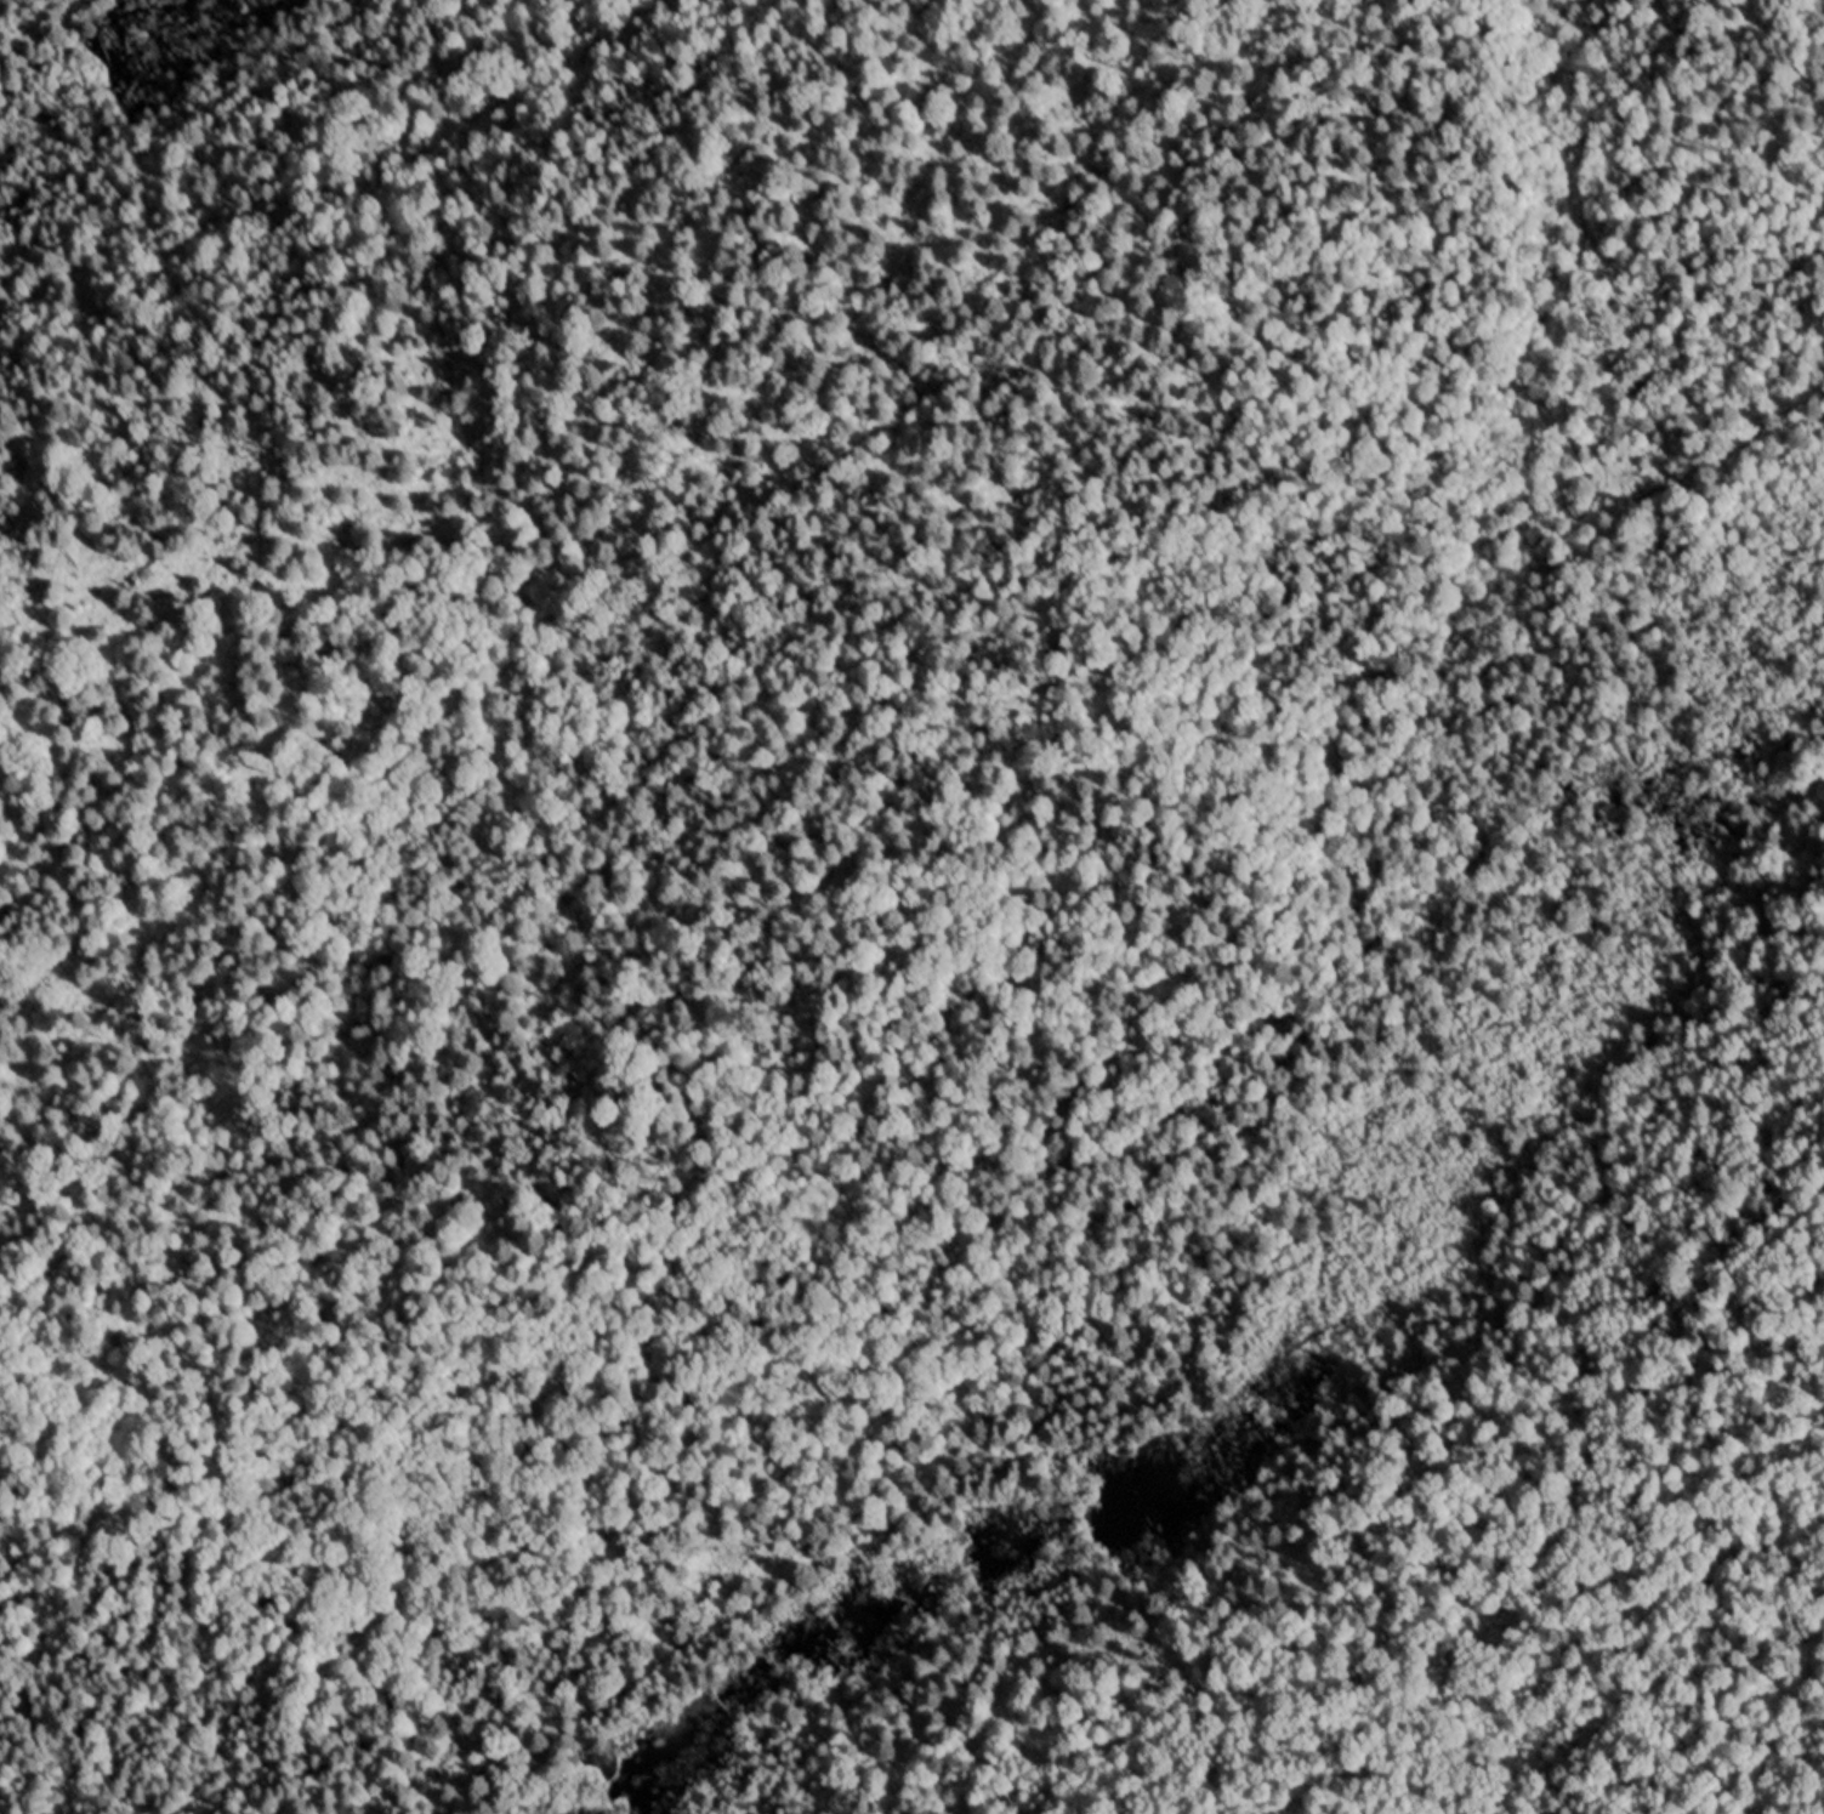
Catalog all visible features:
road: (1568, 369)

